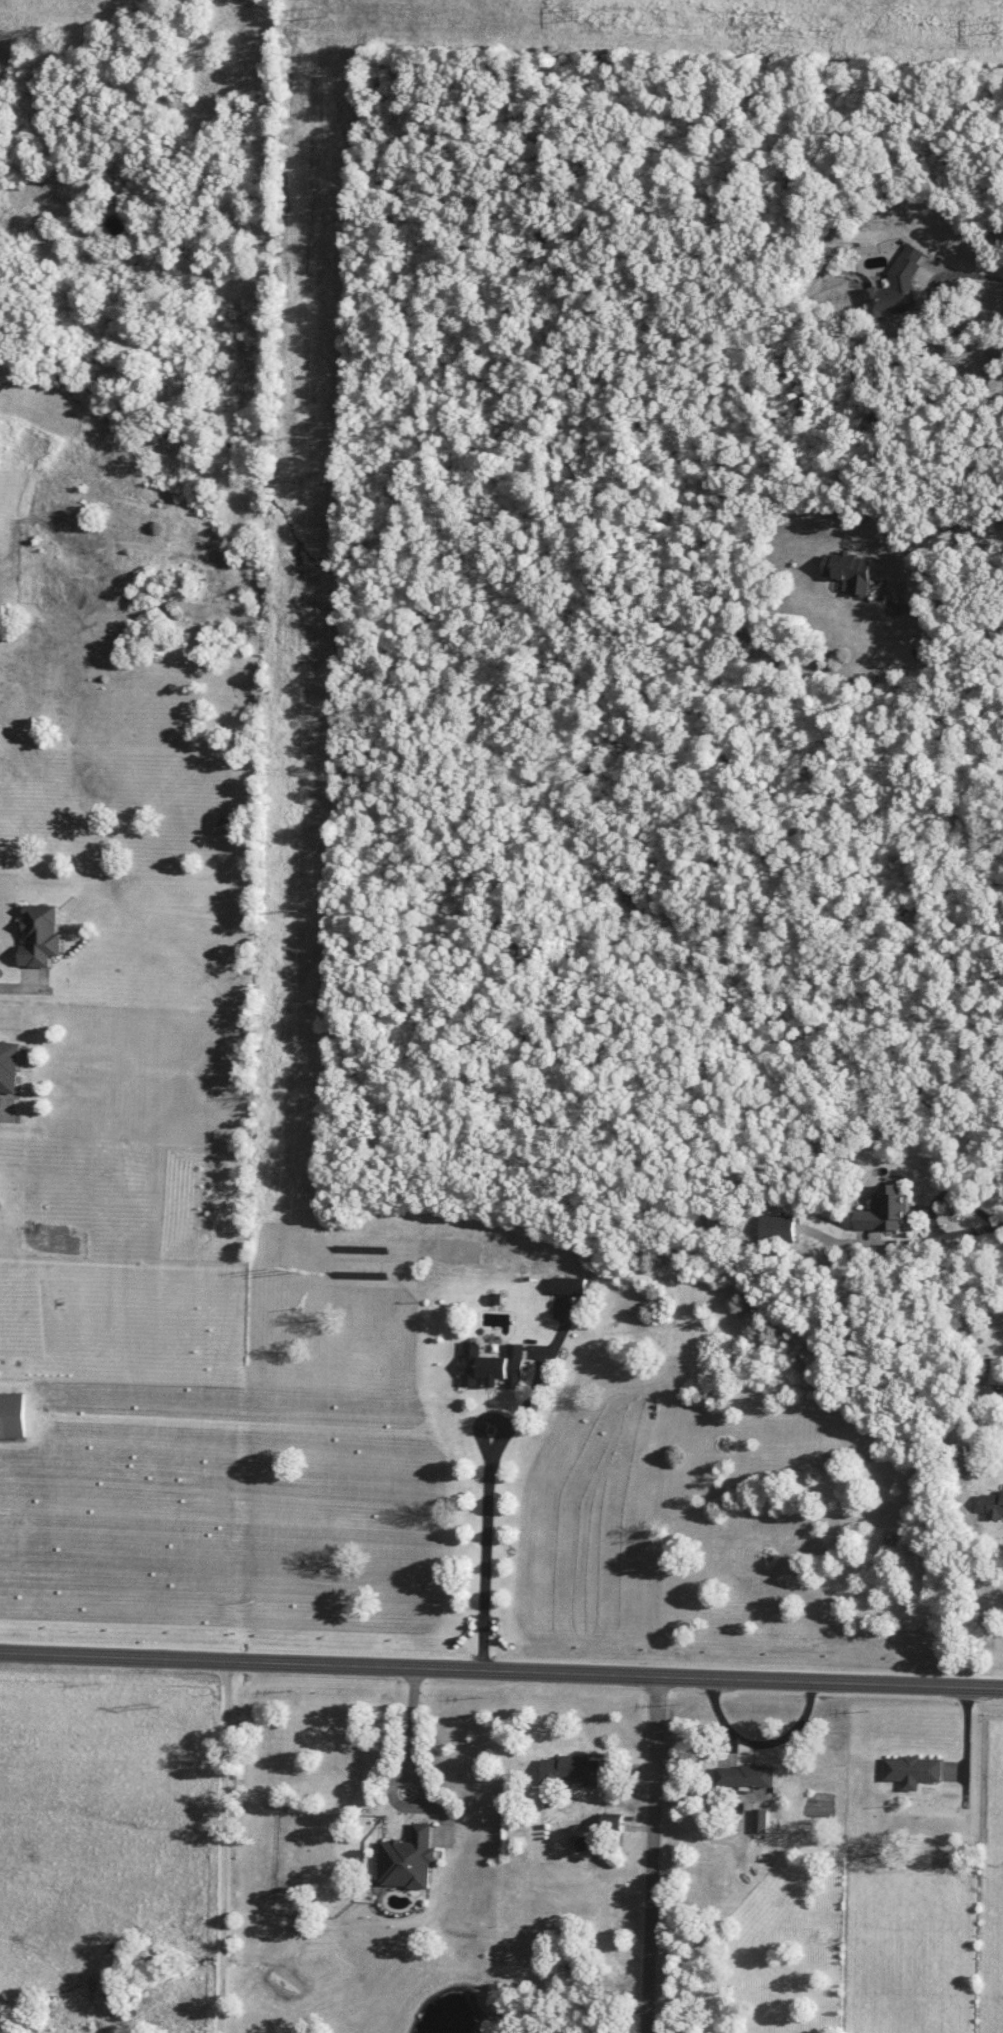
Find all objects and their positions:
road: (999, 276)
building: (898, 287)
road: (937, 294)
road: (928, 532)
building: (856, 571)
building: (43, 935)
road: (18, 982)
building: (10, 1065)
road: (4, 1110)
building: (889, 1212)
road: (958, 1213)
building: (779, 1228)
building: (572, 1286)
building: (496, 1366)
building: (997, 1372)
building: (13, 1416)
road: (489, 1499)
building: (994, 1505)
road: (501, 1669)
road: (964, 1740)
building: (575, 1769)
building: (915, 1771)
building: (748, 1776)
road: (223, 1846)
road: (654, 1853)
building: (410, 1859)

